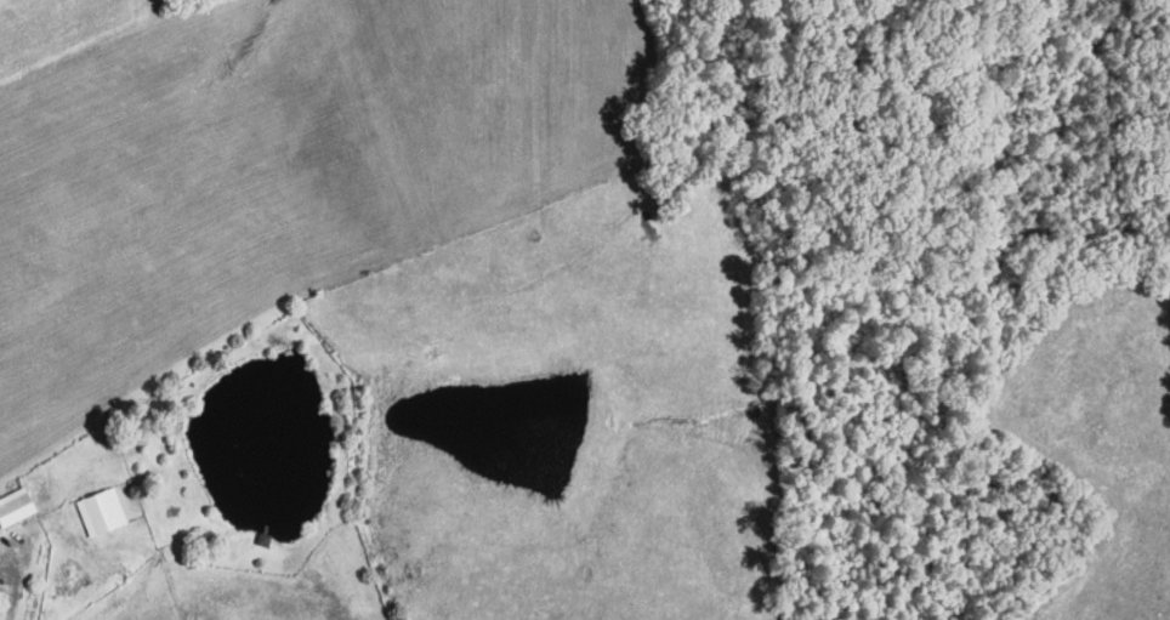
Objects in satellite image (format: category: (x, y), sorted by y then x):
building: (19, 505)
building: (104, 511)

